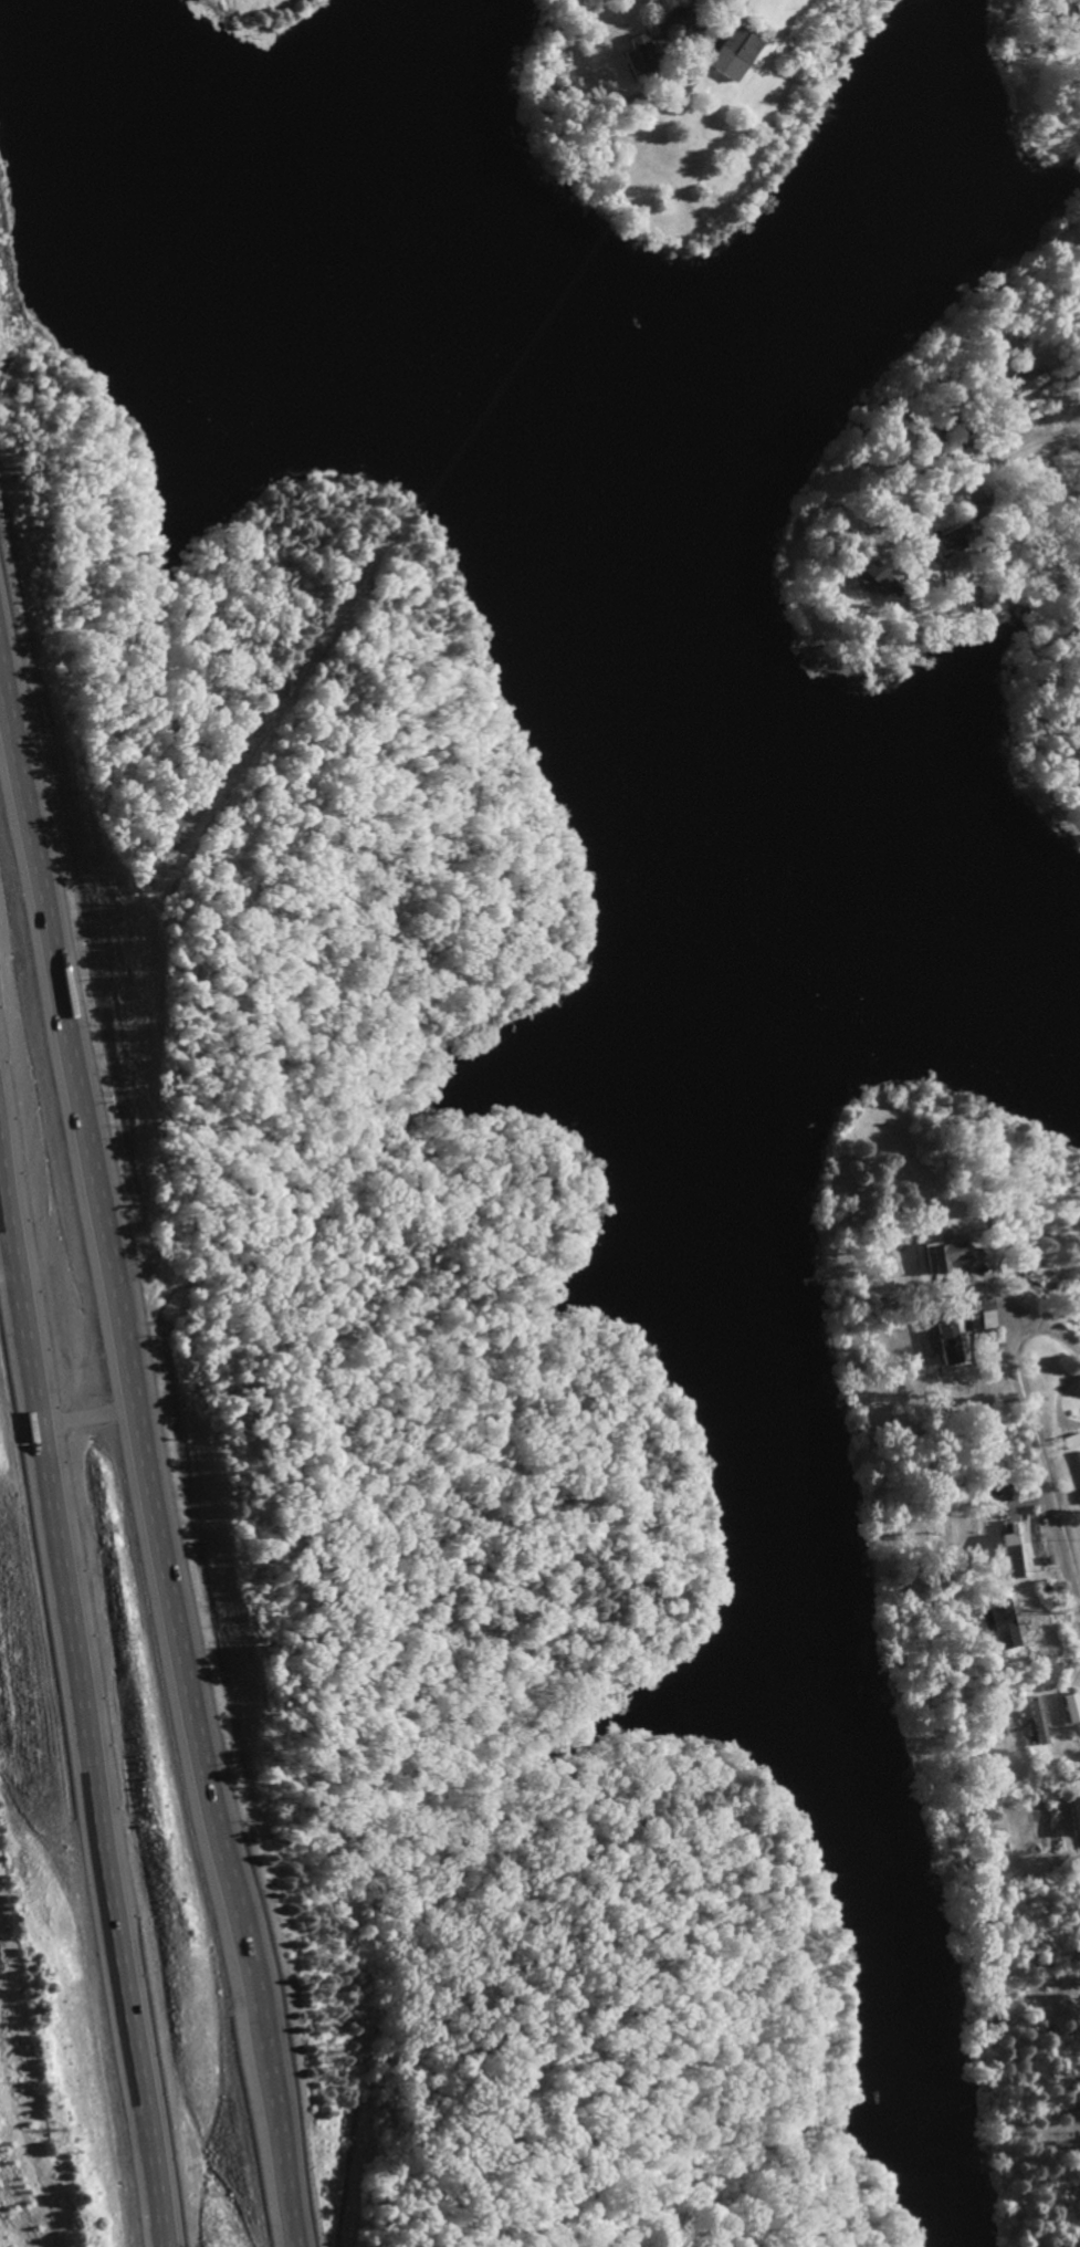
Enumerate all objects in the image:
building: (1076, 11)
road: (712, 33)
building: (633, 51)
building: (725, 52)
road: (984, 472)
building: (974, 504)
building: (943, 542)
building: (868, 575)
building: (943, 1254)
building: (983, 1315)
building: (946, 1339)
road: (87, 1414)
road: (1031, 1436)
road: (148, 1446)
building: (1077, 1472)
building: (1014, 1553)
building: (1070, 1707)
road: (78, 1713)
building: (1040, 1724)
building: (1074, 1815)

